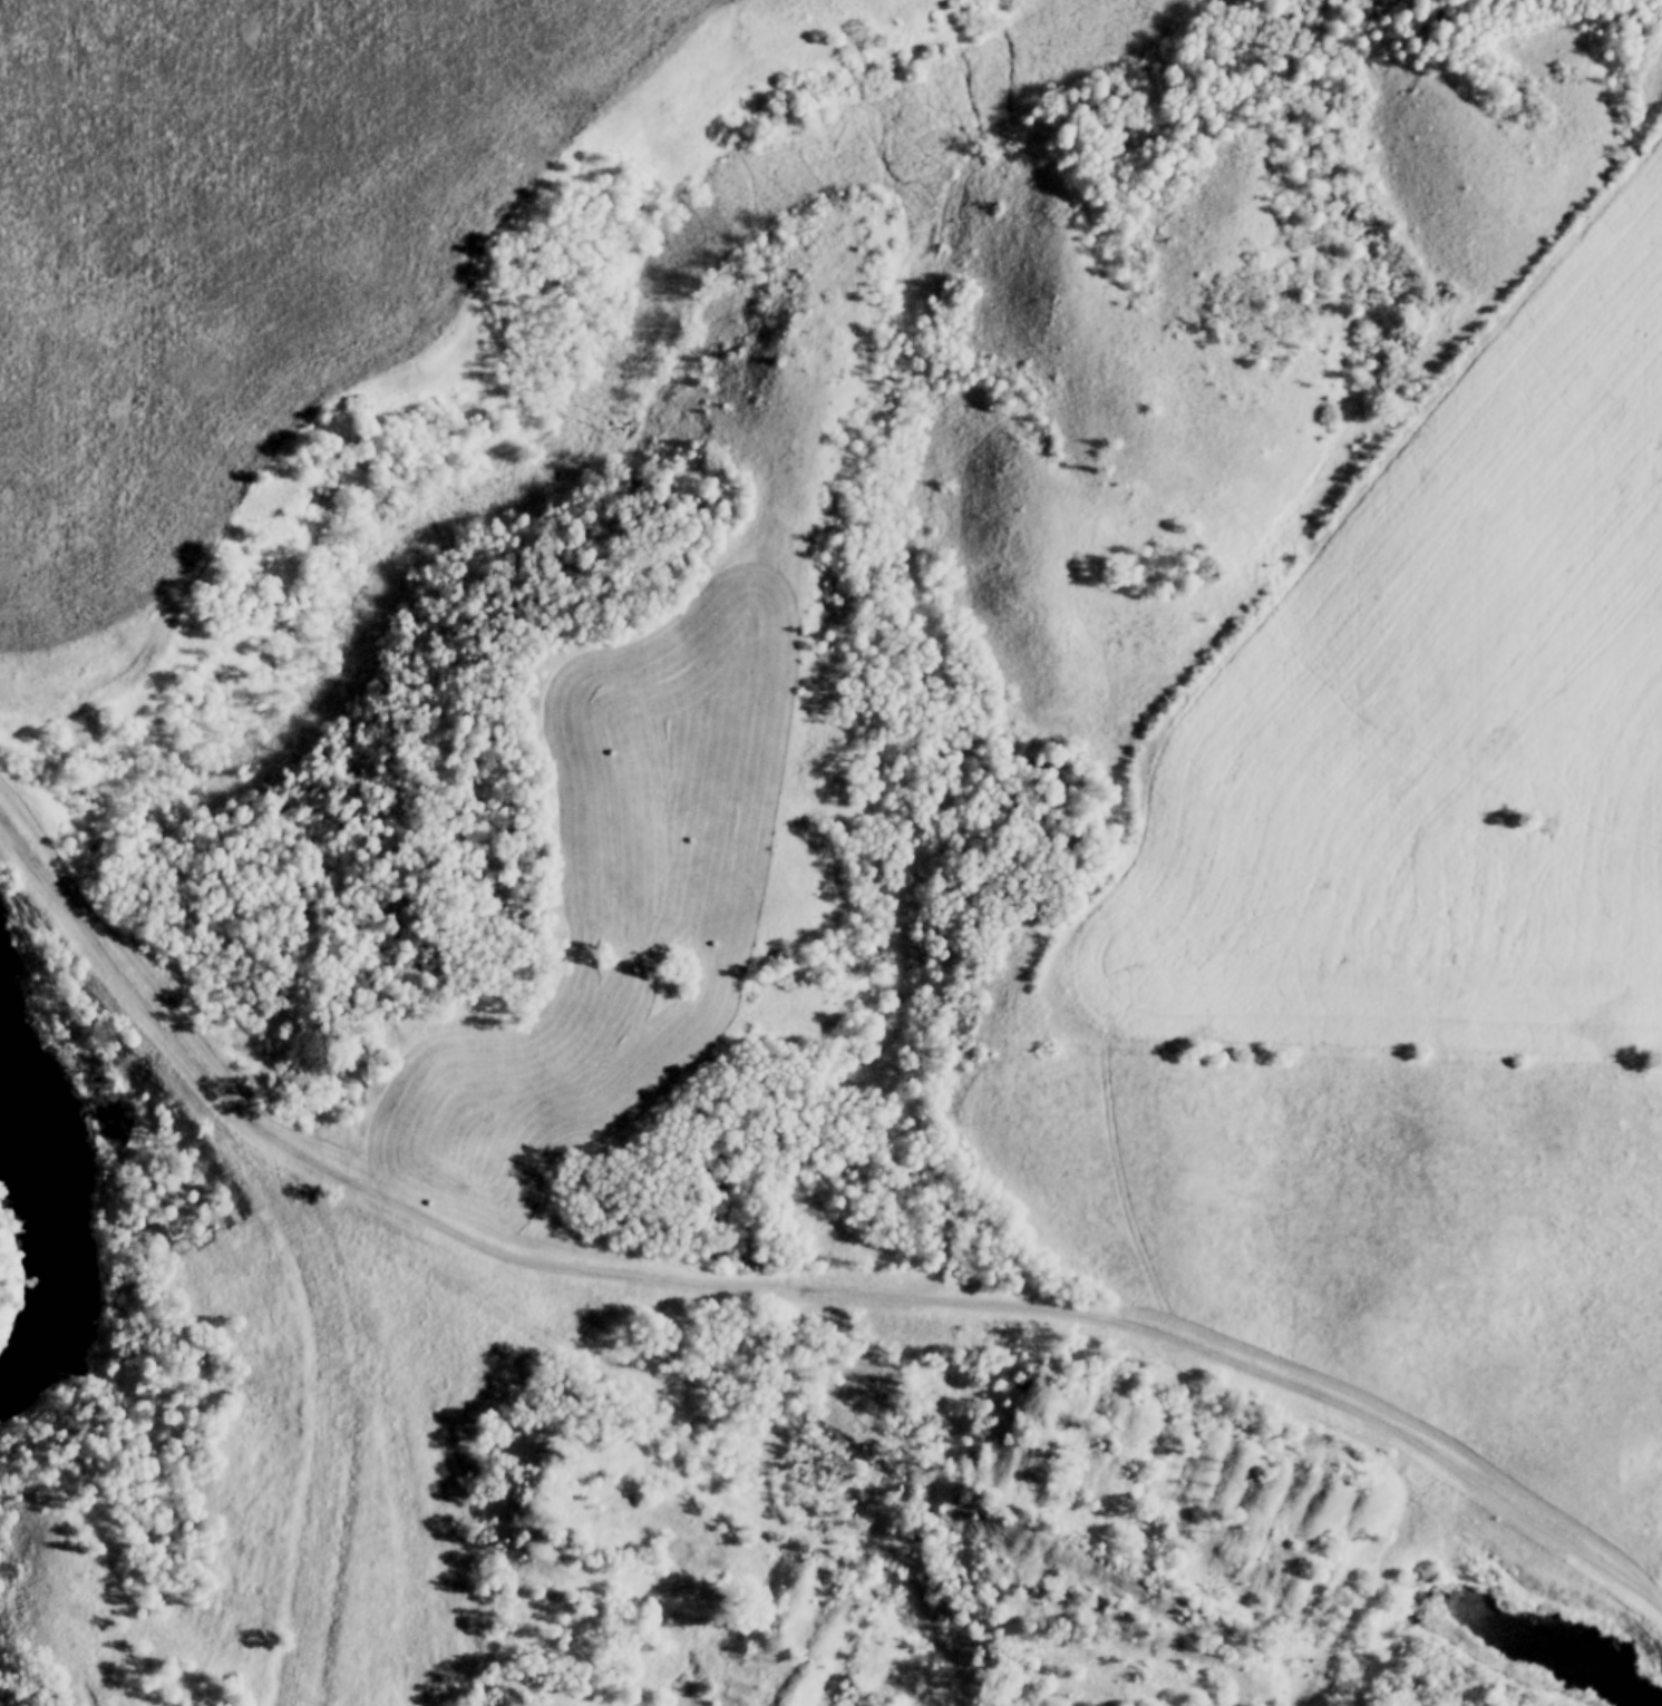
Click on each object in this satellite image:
road: (778, 1288)
road: (332, 1366)
quarry: (659, 1441)
road: (347, 1629)

